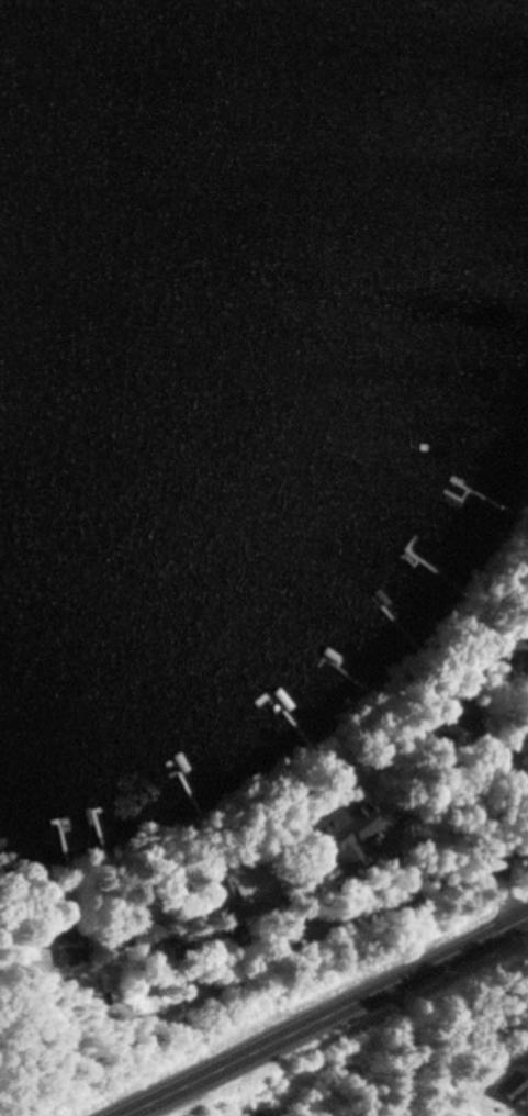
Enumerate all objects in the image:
road: (406, 704)
building: (458, 719)
building: (339, 830)
road: (314, 832)
road: (164, 850)
road: (494, 855)
building: (228, 889)
building: (72, 945)
road: (321, 1015)
building: (505, 1090)

